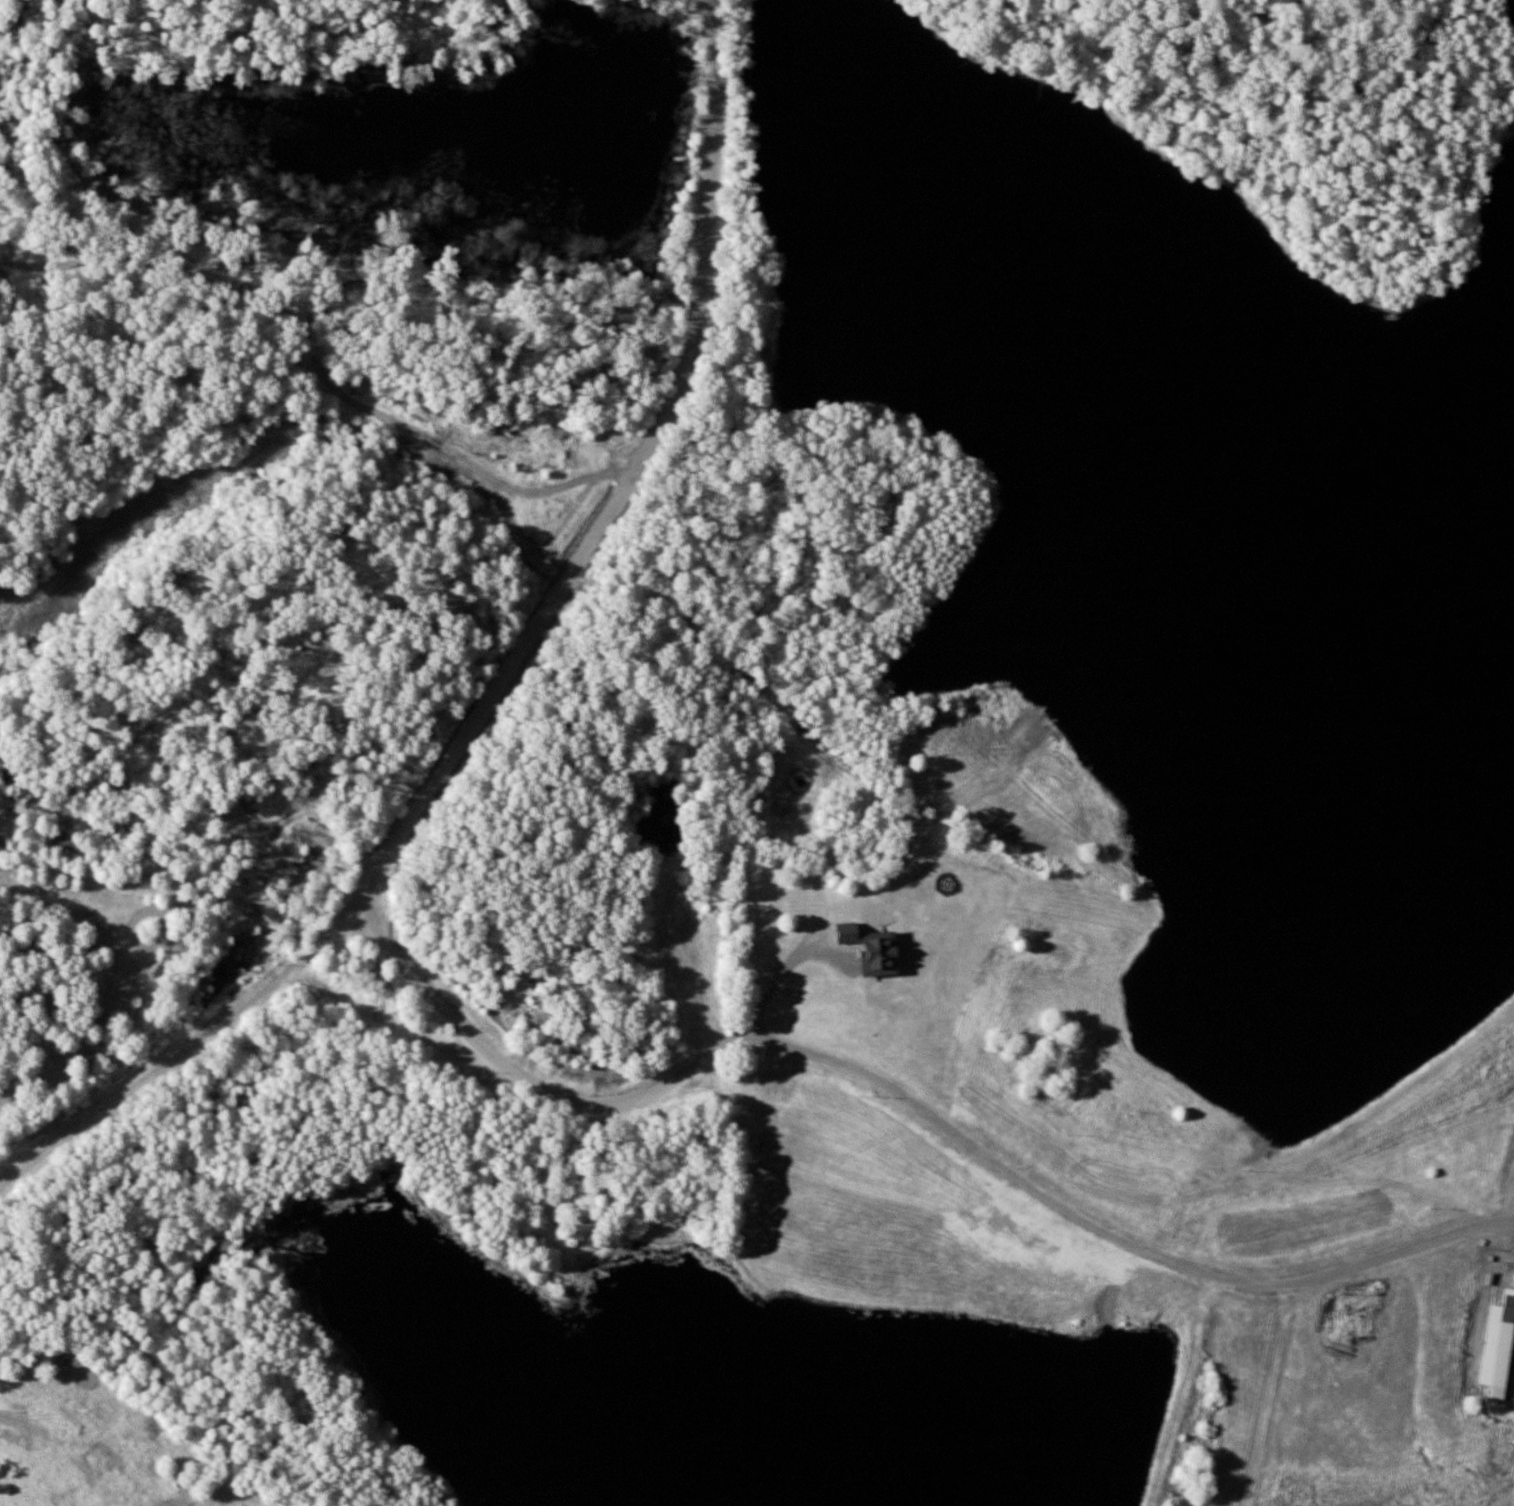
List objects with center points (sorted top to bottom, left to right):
road: (498, 687)
road: (903, 1092)
building: (1500, 1349)

